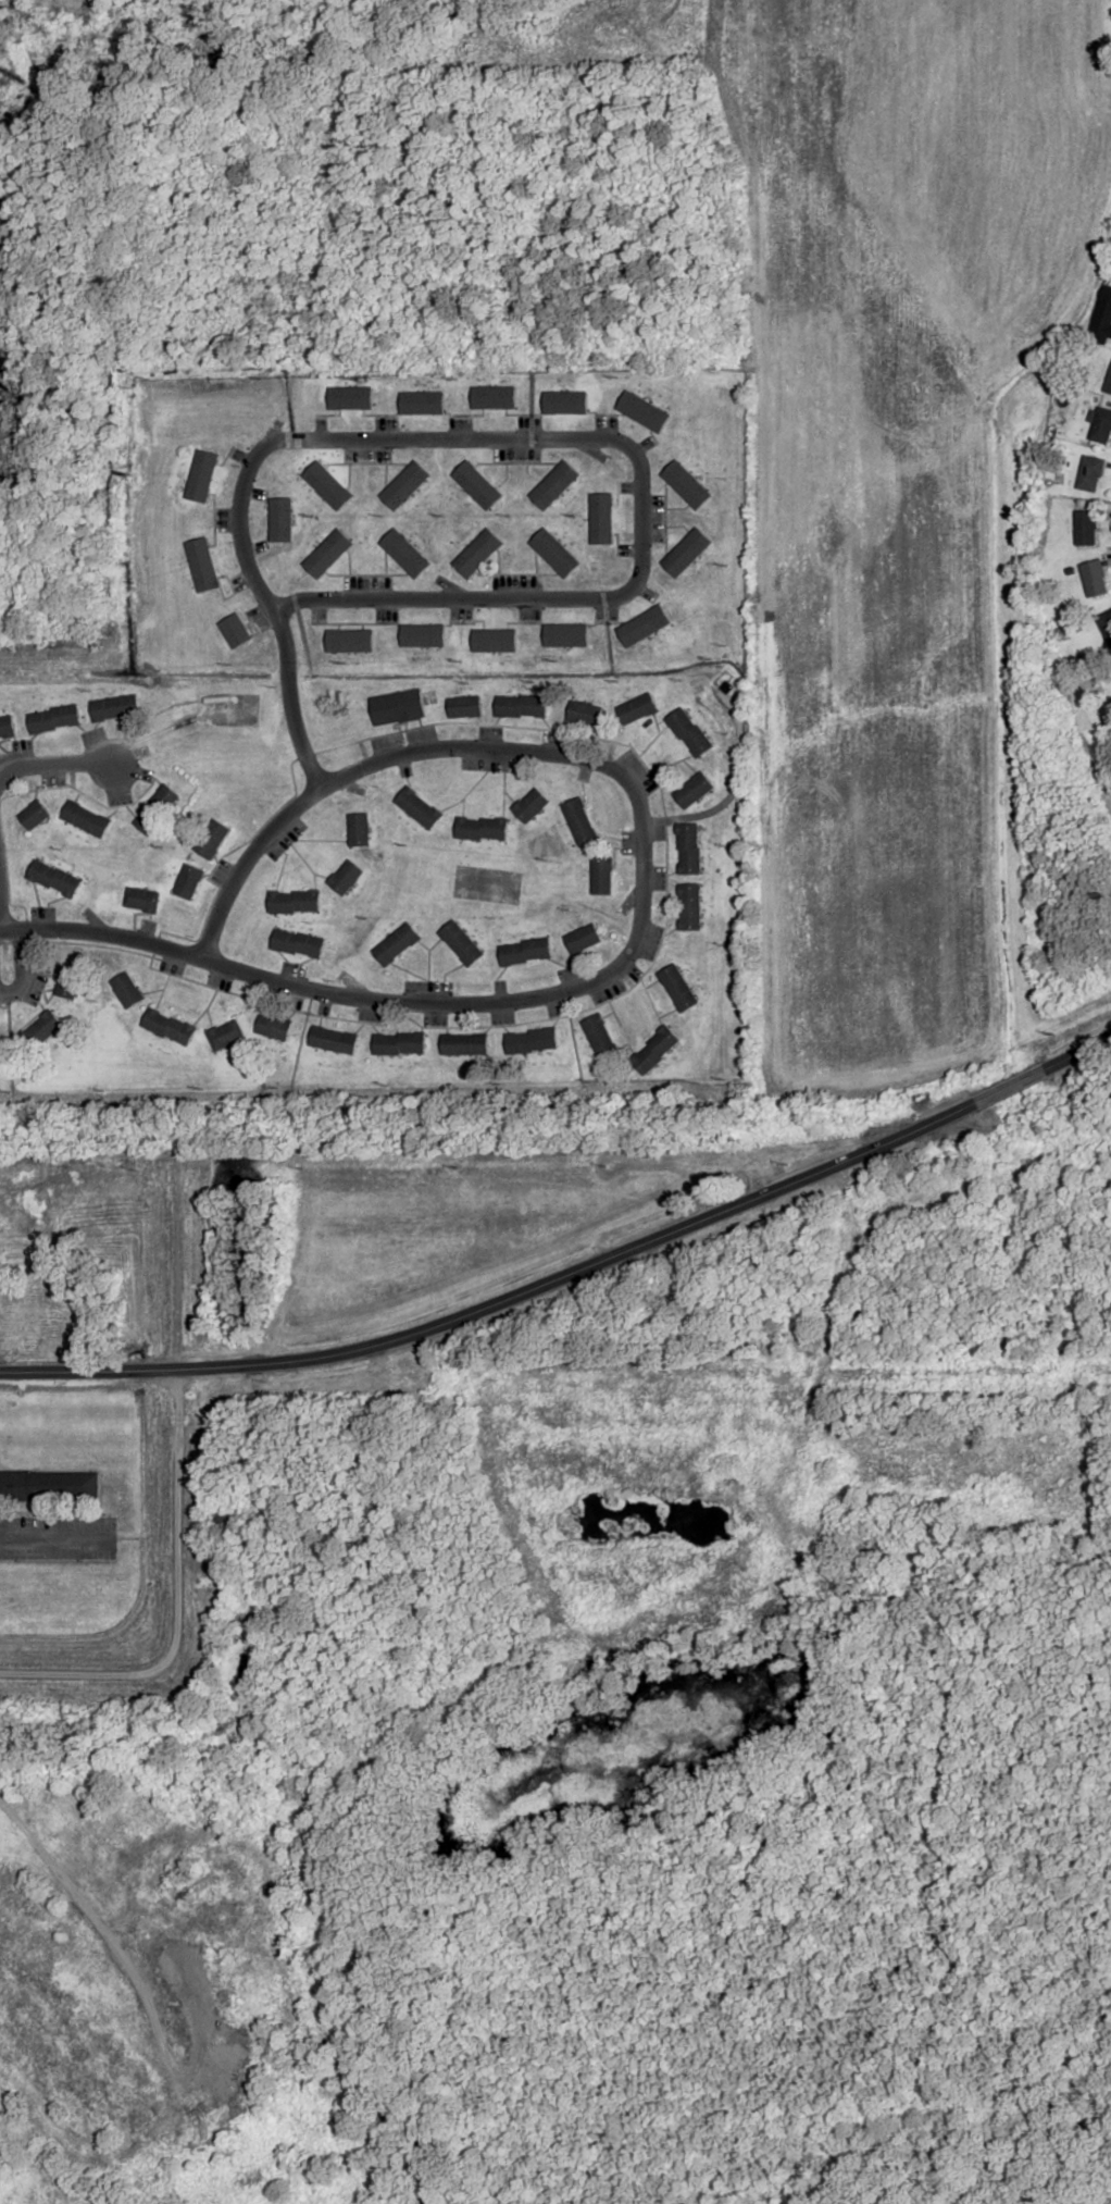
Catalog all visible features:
building: (1102, 318)
building: (1108, 384)
building: (492, 397)
building: (350, 398)
building: (564, 403)
building: (422, 404)
building: (644, 412)
building: (1100, 426)
road: (527, 441)
building: (1089, 474)
building: (202, 476)
building: (327, 485)
building: (404, 485)
building: (476, 485)
building: (554, 485)
building: (686, 485)
building: (600, 519)
building: (279, 520)
building: (1084, 528)
building: (686, 553)
building: (327, 554)
building: (404, 554)
building: (476, 554)
building: (554, 554)
building: (202, 566)
building: (1093, 579)
building: (642, 627)
building: (235, 631)
building: (422, 635)
building: (565, 635)
building: (349, 641)
building: (494, 641)
road: (288, 703)
building: (463, 706)
building: (521, 706)
building: (397, 708)
building: (112, 709)
building: (637, 709)
building: (584, 714)
building: (54, 720)
building: (7, 728)
building: (688, 732)
road: (59, 764)
building: (692, 791)
building: (530, 806)
building: (417, 808)
building: (155, 810)
building: (35, 816)
building: (85, 820)
building: (578, 822)
road: (638, 825)
building: (480, 829)
building: (358, 830)
building: (211, 840)
building: (687, 849)
building: (600, 875)
building: (345, 878)
building: (53, 879)
building: (187, 882)
building: (140, 901)
building: (294, 902)
building: (688, 907)
road: (102, 933)
building: (581, 939)
building: (297, 944)
building: (460, 944)
building: (396, 945)
building: (523, 952)
road: (21, 965)
building: (66, 985)
building: (675, 989)
building: (126, 990)
building: (167, 1027)
building: (273, 1027)
building: (38, 1032)
building: (225, 1036)
building: (598, 1037)
building: (329, 1039)
building: (529, 1041)
building: (398, 1043)
building: (463, 1044)
building: (653, 1050)
railway: (555, 1131)
road: (573, 1270)
road: (248, 1441)
building: (49, 1485)
road: (176, 1494)
road: (108, 1940)

